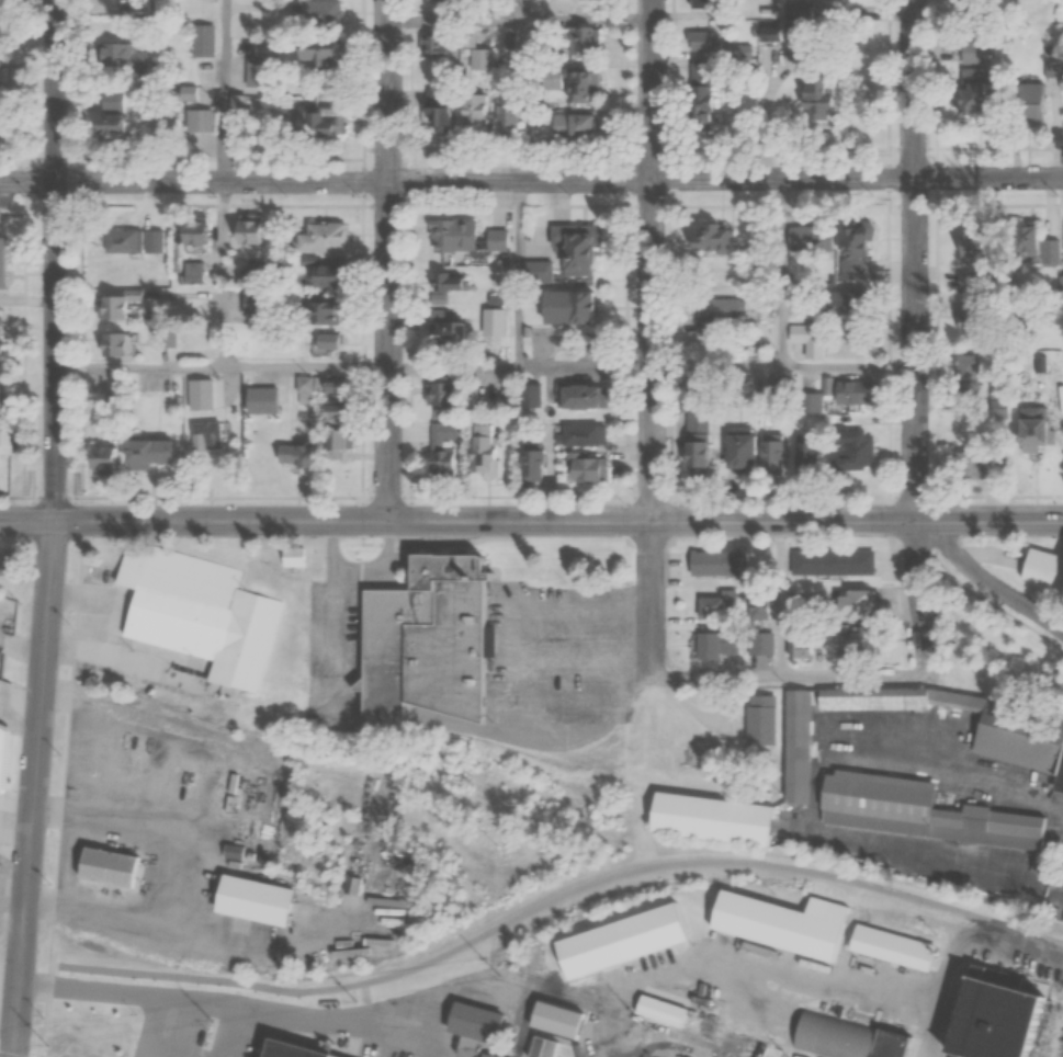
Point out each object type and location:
building: (437, 1)
building: (701, 2)
building: (979, 9)
building: (326, 14)
building: (2, 15)
road: (520, 20)
building: (509, 37)
building: (204, 41)
building: (578, 41)
building: (701, 41)
building: (432, 47)
building: (970, 52)
building: (312, 58)
building: (127, 59)
building: (483, 59)
building: (258, 66)
building: (3, 71)
building: (565, 83)
road: (222, 90)
building: (191, 94)
building: (698, 98)
building: (1025, 104)
building: (238, 105)
building: (813, 106)
building: (471, 112)
building: (316, 117)
building: (430, 117)
building: (502, 121)
building: (564, 124)
building: (115, 132)
road: (531, 181)
building: (257, 230)
building: (448, 236)
building: (325, 238)
building: (805, 238)
building: (494, 239)
building: (701, 239)
building: (123, 241)
building: (1022, 243)
building: (200, 246)
building: (574, 247)
building: (1050, 252)
road: (50, 260)
road: (388, 260)
building: (8, 263)
building: (536, 271)
road: (220, 273)
road: (521, 273)
building: (331, 275)
building: (247, 277)
building: (446, 283)
building: (837, 302)
building: (566, 307)
building: (118, 308)
building: (328, 314)
building: (717, 316)
building: (0, 317)
building: (964, 322)
building: (443, 326)
road: (914, 330)
building: (802, 333)
building: (331, 341)
road: (653, 341)
building: (116, 345)
building: (4, 359)
road: (304, 366)
road: (455, 366)
road: (588, 366)
road: (783, 366)
road: (135, 367)
building: (340, 389)
building: (307, 390)
building: (844, 390)
building: (206, 396)
building: (437, 396)
building: (528, 396)
building: (577, 397)
building: (264, 401)
building: (807, 404)
building: (341, 407)
building: (997, 407)
building: (1025, 434)
building: (211, 435)
building: (580, 435)
building: (9, 439)
building: (480, 450)
building: (734, 451)
building: (849, 451)
building: (441, 453)
building: (770, 453)
building: (158, 454)
building: (693, 455)
building: (302, 456)
building: (112, 466)
building: (528, 466)
building: (583, 470)
road: (531, 521)
building: (830, 561)
building: (713, 562)
building: (8, 564)
building: (1040, 575)
road: (984, 580)
building: (715, 605)
building: (851, 605)
building: (1060, 605)
building: (199, 614)
building: (427, 635)
building: (758, 644)
building: (712, 645)
building: (837, 649)
building: (864, 703)
building: (8, 706)
building: (758, 720)
building: (999, 738)
building: (788, 753)
road: (27, 788)
building: (191, 808)
building: (909, 815)
building: (703, 827)
building: (111, 864)
road: (558, 898)
building: (256, 899)
road: (930, 903)
building: (774, 929)
building: (613, 947)
building: (884, 953)
road: (143, 968)
building: (660, 1007)
building: (995, 1012)
building: (467, 1028)
building: (837, 1041)
building: (542, 1046)
building: (269, 1054)
road: (10, 1055)
building: (332, 1056)

